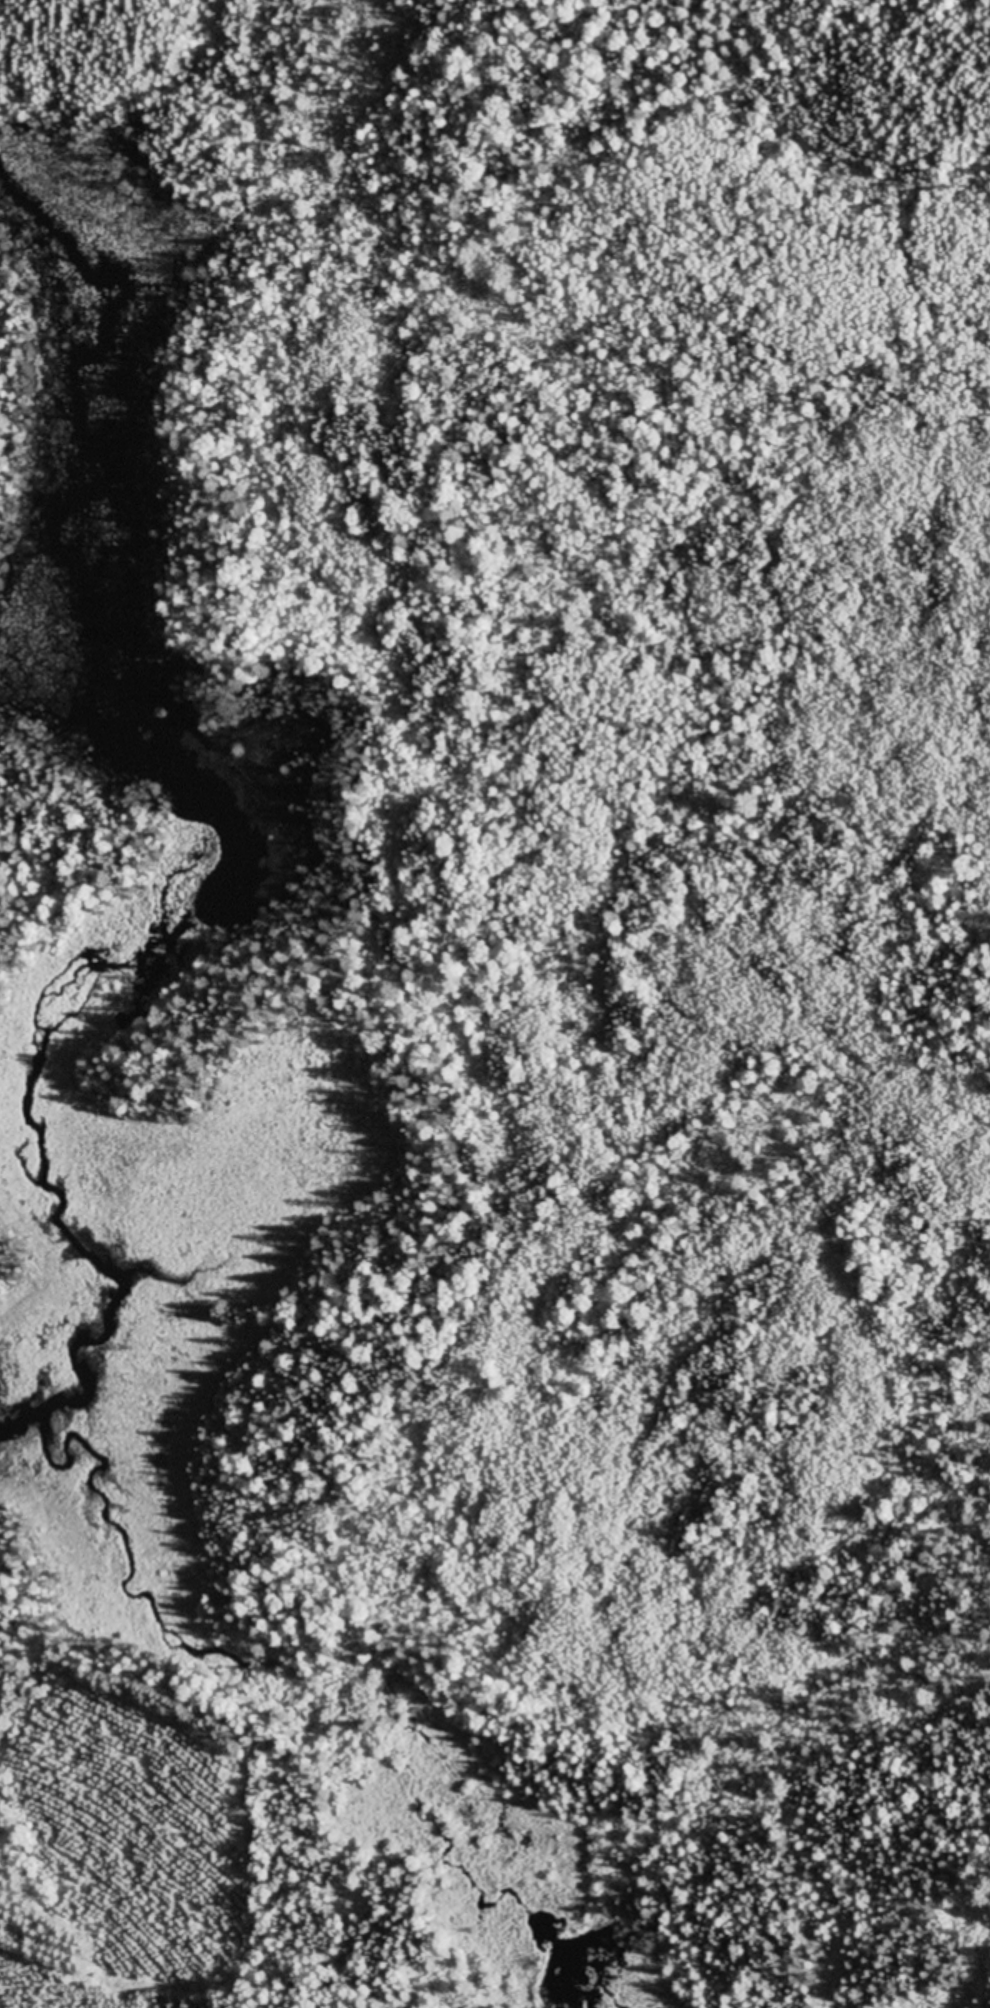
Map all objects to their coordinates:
road: (187, 1635)

